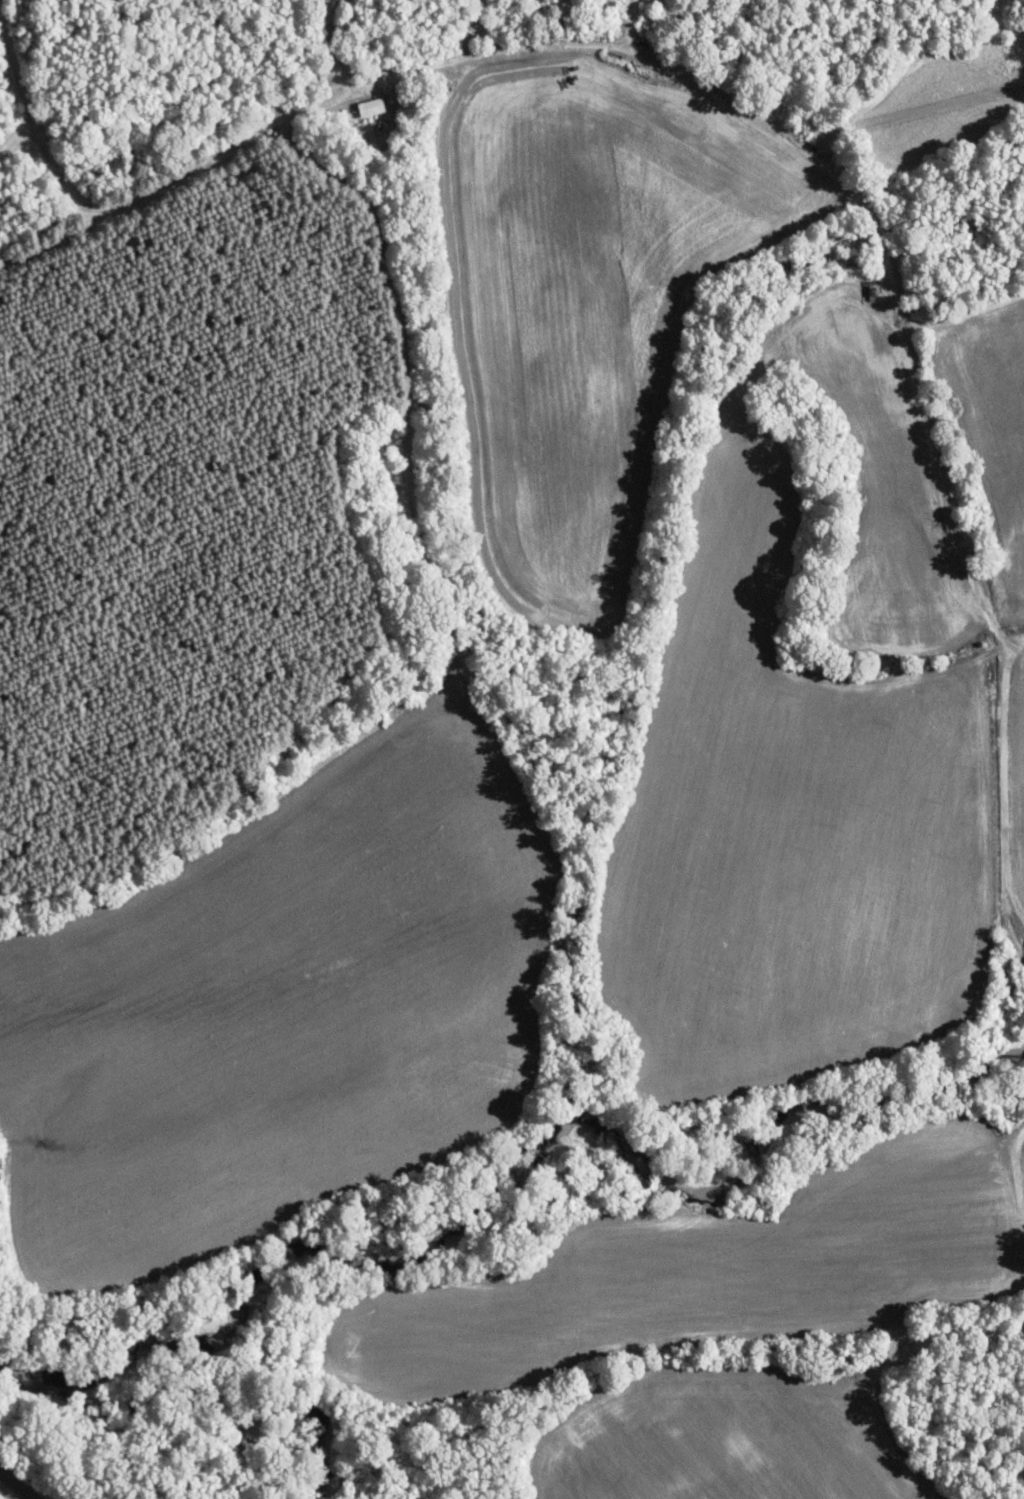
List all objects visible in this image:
building: (369, 108)
road: (904, 503)
railway: (14, 1487)

